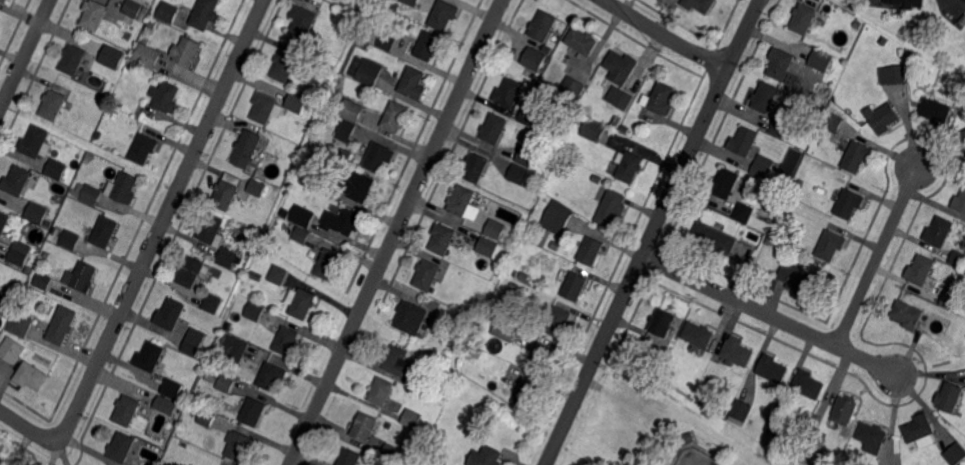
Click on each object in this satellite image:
building: (964, 0)
building: (5, 1)
building: (411, 2)
building: (905, 4)
building: (393, 5)
building: (700, 5)
building: (133, 8)
building: (169, 12)
building: (94, 14)
building: (206, 14)
building: (443, 14)
building: (804, 20)
building: (154, 23)
building: (301, 23)
building: (543, 26)
road: (666, 36)
building: (383, 39)
building: (582, 42)
building: (361, 46)
building: (427, 47)
building: (186, 52)
building: (902, 52)
road: (25, 54)
building: (111, 55)
building: (148, 55)
building: (73, 59)
building: (535, 59)
building: (820, 61)
building: (622, 65)
building: (121, 67)
building: (282, 68)
building: (784, 69)
building: (128, 70)
building: (370, 74)
building: (894, 76)
building: (413, 85)
building: (573, 87)
building: (509, 93)
building: (166, 96)
building: (620, 98)
building: (766, 99)
building: (660, 101)
building: (297, 103)
building: (53, 104)
building: (265, 108)
building: (352, 111)
building: (936, 114)
building: (529, 116)
building: (395, 119)
building: (882, 119)
building: (615, 122)
building: (834, 122)
building: (779, 127)
building: (804, 127)
building: (624, 129)
building: (492, 130)
building: (347, 131)
building: (593, 131)
building: (99, 134)
building: (744, 141)
building: (36, 142)
building: (962, 144)
building: (143, 149)
building: (247, 149)
building: (345, 157)
building: (527, 157)
building: (856, 158)
building: (376, 159)
building: (57, 168)
building: (476, 169)
building: (630, 169)
building: (764, 169)
building: (519, 175)
building: (17, 180)
building: (538, 180)
building: (756, 182)
building: (324, 184)
building: (724, 184)
building: (800, 184)
building: (124, 187)
building: (361, 187)
building: (256, 188)
building: (227, 190)
building: (274, 190)
building: (87, 192)
building: (461, 200)
building: (72, 202)
building: (960, 204)
building: (848, 206)
building: (611, 210)
building: (36, 213)
building: (286, 213)
building: (742, 214)
building: (303, 216)
building: (558, 217)
road: (163, 221)
building: (4, 222)
building: (343, 222)
building: (496, 229)
building: (212, 230)
building: (104, 231)
road: (396, 232)
road: (653, 232)
building: (938, 233)
building: (302, 234)
building: (70, 239)
building: (442, 239)
building: (715, 241)
building: (770, 243)
building: (488, 246)
building: (830, 246)
building: (21, 253)
building: (590, 253)
road: (877, 256)
building: (227, 259)
building: (958, 260)
building: (328, 265)
building: (192, 271)
building: (921, 271)
building: (517, 274)
building: (255, 275)
building: (427, 275)
building: (277, 276)
building: (82, 277)
building: (43, 280)
building: (800, 282)
building: (575, 289)
building: (907, 299)
building: (951, 301)
building: (213, 302)
building: (6, 304)
building: (302, 306)
building: (255, 311)
building: (170, 314)
road: (769, 314)
building: (908, 317)
building: (411, 318)
building: (462, 318)
building: (557, 323)
building: (20, 324)
building: (63, 324)
building: (663, 325)
building: (440, 327)
building: (503, 330)
building: (1, 333)
building: (698, 335)
building: (194, 341)
building: (286, 341)
building: (236, 348)
building: (12, 350)
building: (737, 354)
building: (150, 357)
building: (540, 360)
building: (401, 366)
building: (660, 371)
building: (771, 371)
building: (31, 376)
building: (272, 376)
building: (671, 377)
building: (444, 379)
building: (226, 383)
building: (807, 386)
building: (172, 388)
building: (380, 393)
building: (524, 393)
building: (950, 400)
building: (245, 401)
building: (166, 405)
building: (127, 410)
building: (741, 411)
building: (845, 411)
building: (253, 412)
building: (721, 414)
building: (207, 417)
building: (410, 421)
building: (816, 424)
building: (388, 425)
road: (26, 427)
building: (777, 427)
building: (919, 429)
building: (362, 430)
building: (872, 439)
building: (687, 441)
building: (818, 443)
building: (238, 444)
building: (121, 448)
building: (391, 454)
building: (956, 455)
building: (485, 457)
park: (697, 457)
building: (348, 459)
building: (2, 460)
building: (444, 462)

